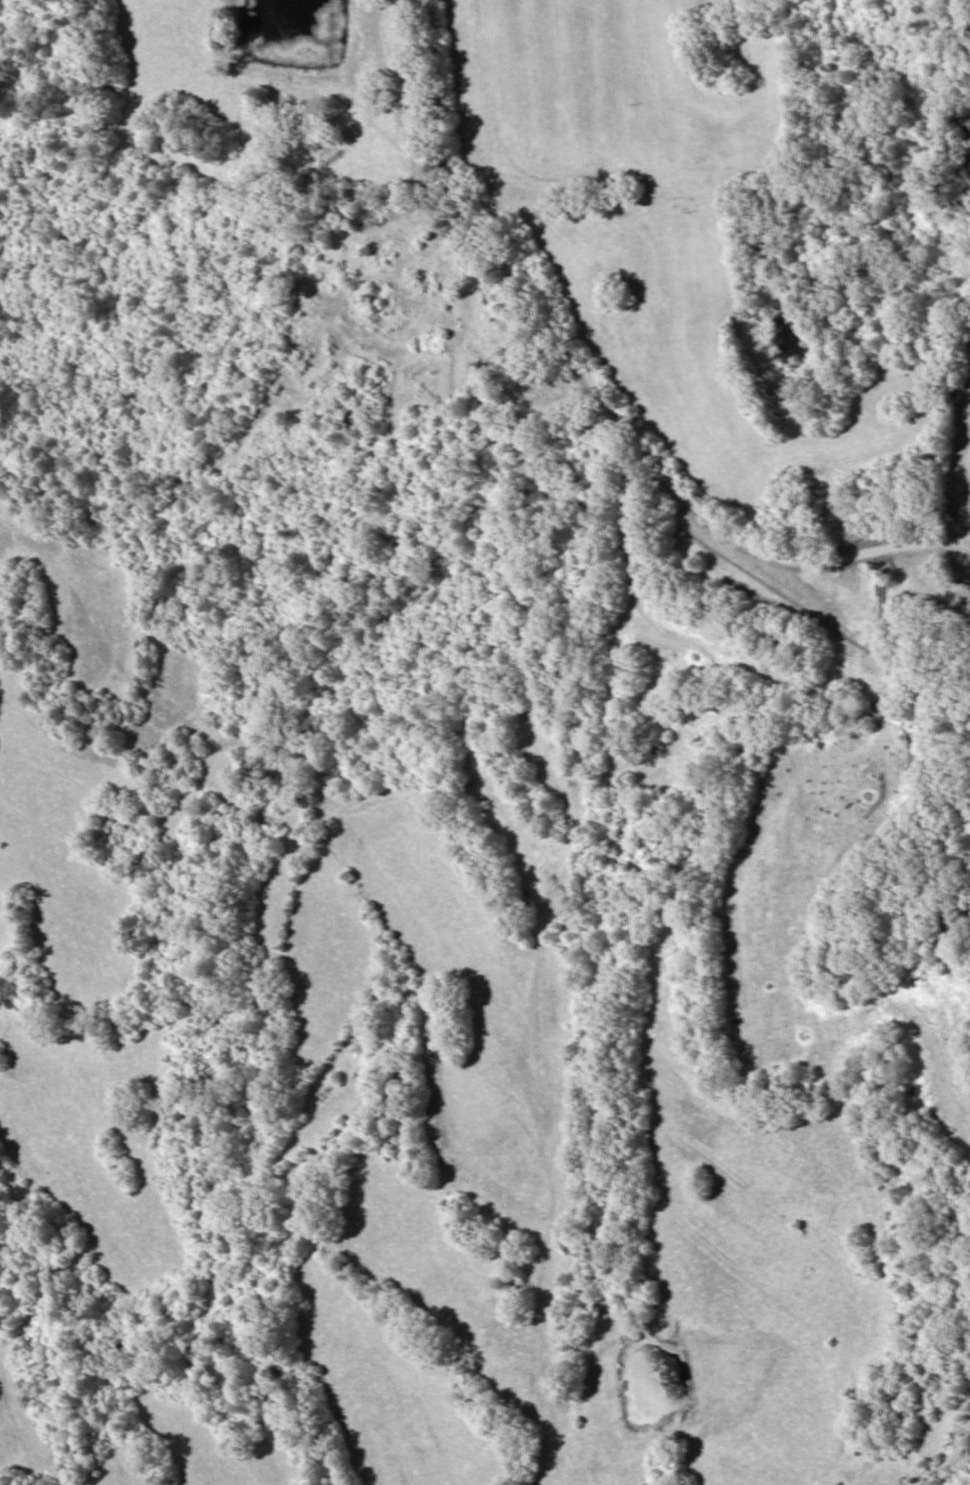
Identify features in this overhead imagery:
road: (635, 369)
road: (634, 970)
road: (933, 974)

